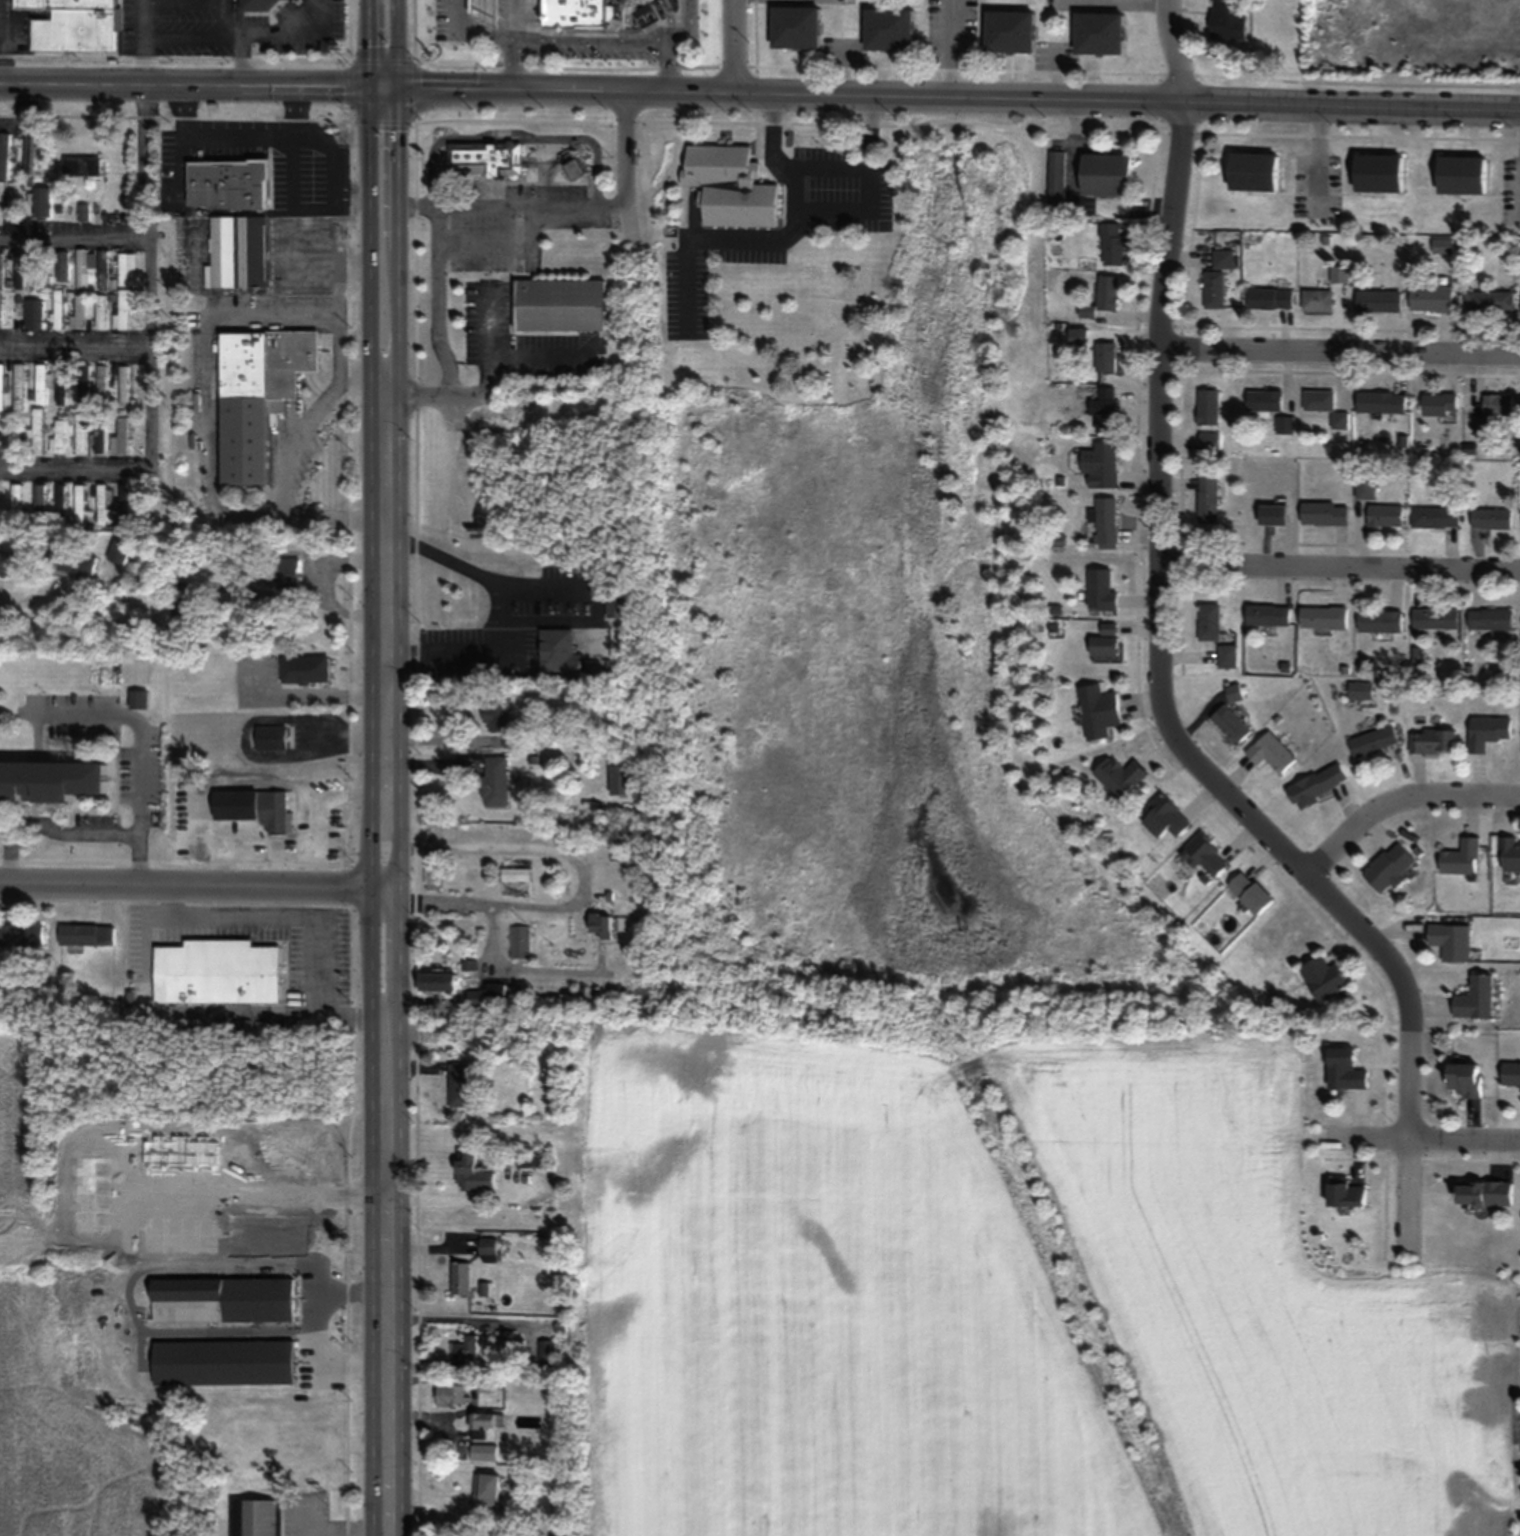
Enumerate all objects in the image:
road: (1129, 1)
building: (268, 3)
building: (486, 11)
building: (645, 14)
building: (575, 15)
road: (227, 17)
building: (1230, 19)
road: (677, 21)
building: (77, 25)
building: (797, 27)
building: (890, 28)
road: (469, 30)
building: (1012, 31)
building: (1102, 33)
road: (186, 34)
road: (290, 35)
road: (588, 39)
road: (146, 40)
road: (4, 41)
road: (380, 41)
road: (510, 42)
road: (736, 45)
road: (240, 58)
road: (666, 65)
road: (190, 81)
road: (524, 86)
road: (1093, 97)
road: (25, 115)
road: (239, 133)
road: (513, 138)
building: (5, 155)
building: (31, 156)
building: (485, 159)
building: (313, 162)
building: (84, 165)
building: (572, 165)
road: (622, 166)
building: (1255, 171)
building: (1380, 172)
building: (1108, 174)
building: (1463, 174)
building: (1057, 181)
building: (229, 184)
building: (730, 186)
building: (43, 202)
road: (503, 205)
building: (83, 210)
building: (20, 225)
road: (74, 236)
building: (1113, 243)
building: (237, 252)
building: (1224, 258)
building: (126, 267)
building: (1, 269)
building: (41, 270)
building: (21, 271)
building: (83, 272)
road: (149, 274)
building: (1340, 274)
building: (104, 277)
building: (1214, 289)
building: (1108, 292)
building: (1270, 298)
road: (435, 299)
building: (1318, 299)
building: (1432, 299)
building: (1379, 300)
building: (1490, 300)
building: (560, 304)
building: (59, 309)
building: (124, 309)
building: (101, 310)
building: (1082, 336)
road: (75, 345)
building: (1107, 352)
road: (1340, 358)
building: (102, 381)
building: (42, 385)
building: (62, 385)
building: (84, 386)
building: (19, 387)
building: (124, 390)
building: (2, 391)
road: (435, 391)
building: (258, 395)
building: (1265, 401)
building: (1381, 402)
building: (1440, 403)
building: (1325, 406)
road: (452, 407)
building: (1209, 407)
building: (1495, 410)
building: (1106, 411)
building: (1285, 425)
building: (38, 431)
building: (58, 436)
building: (81, 436)
building: (120, 437)
building: (99, 438)
building: (1209, 440)
building: (1101, 465)
road: (73, 467)
building: (1367, 487)
building: (1208, 499)
building: (16, 500)
building: (40, 500)
building: (61, 502)
building: (103, 505)
building: (124, 506)
building: (80, 507)
building: (1325, 513)
building: (1274, 514)
building: (1386, 515)
building: (1436, 517)
building: (1493, 519)
building: (1106, 521)
building: (119, 552)
building: (8, 564)
building: (73, 564)
building: (288, 570)
road: (1339, 575)
road: (314, 585)
building: (1102, 588)
road: (31, 599)
building: (184, 601)
road: (499, 603)
road: (597, 608)
building: (1268, 615)
building: (1324, 617)
building: (1436, 618)
building: (1491, 619)
building: (1381, 621)
building: (1210, 622)
building: (1104, 642)
building: (561, 652)
building: (1228, 655)
building: (305, 670)
road: (1158, 671)
building: (1362, 690)
building: (138, 699)
building: (1099, 710)
building: (496, 715)
building: (1231, 723)
road: (136, 727)
building: (1489, 731)
building: (271, 738)
building: (1434, 740)
building: (1374, 741)
building: (1272, 752)
building: (1121, 775)
building: (50, 781)
building: (494, 781)
building: (1319, 784)
road: (257, 785)
road: (1399, 804)
road: (380, 809)
building: (1166, 817)
building: (267, 818)
road: (74, 830)
building: (438, 832)
park: (945, 832)
road: (318, 838)
building: (1510, 853)
building: (1206, 854)
building: (1463, 857)
building: (1391, 866)
building: (432, 871)
building: (515, 873)
road: (581, 878)
road: (190, 882)
building: (1252, 892)
road: (302, 917)
building: (599, 927)
building: (87, 934)
building: (22, 935)
building: (518, 941)
building: (1452, 941)
road: (517, 967)
building: (219, 972)
building: (1325, 978)
building: (435, 982)
building: (488, 995)
building: (1476, 998)
building: (1347, 1070)
building: (1511, 1073)
building: (1467, 1079)
building: (460, 1085)
road: (1427, 1137)
building: (95, 1143)
building: (472, 1172)
building: (184, 1192)
building: (1485, 1192)
building: (1347, 1193)
road: (459, 1197)
building: (283, 1218)
building: (86, 1240)
building: (487, 1249)
crop: (1295, 1277)
building: (460, 1278)
crop: (26, 1288)
crop: (792, 1299)
building: (226, 1300)
road: (317, 1323)
building: (545, 1348)
building: (464, 1351)
building: (226, 1362)
building: (485, 1384)
building: (450, 1395)
building: (485, 1423)
building: (483, 1452)
building: (486, 1493)
building: (260, 1518)

